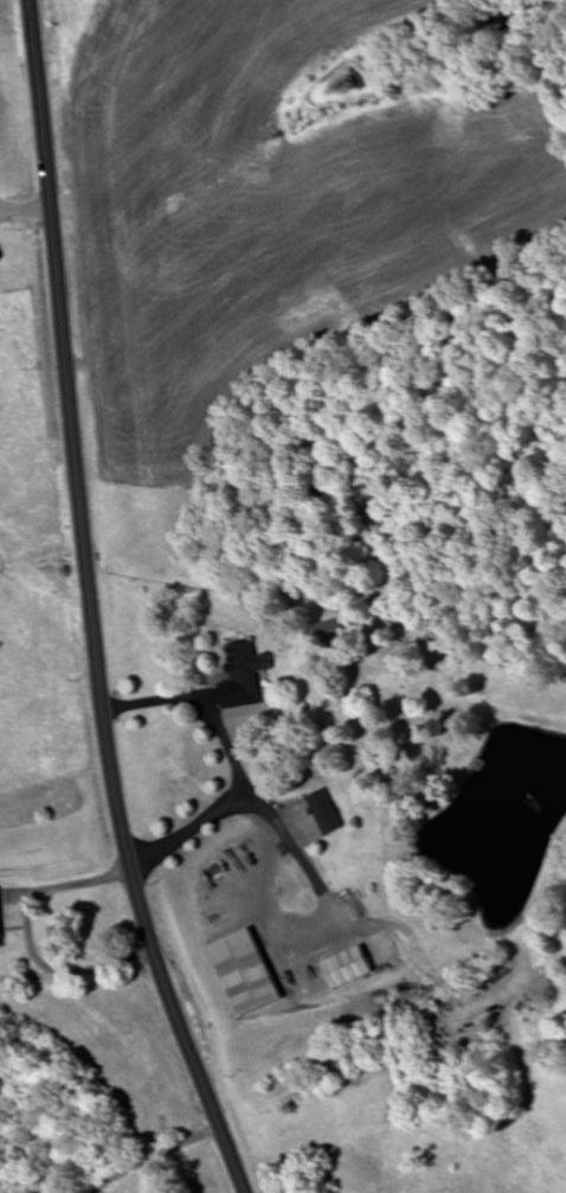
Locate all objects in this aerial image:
road: (88, 605)
building: (245, 668)
building: (328, 812)
building: (0, 936)
building: (347, 967)
building: (244, 973)
building: (349, 1168)
building: (404, 1191)

